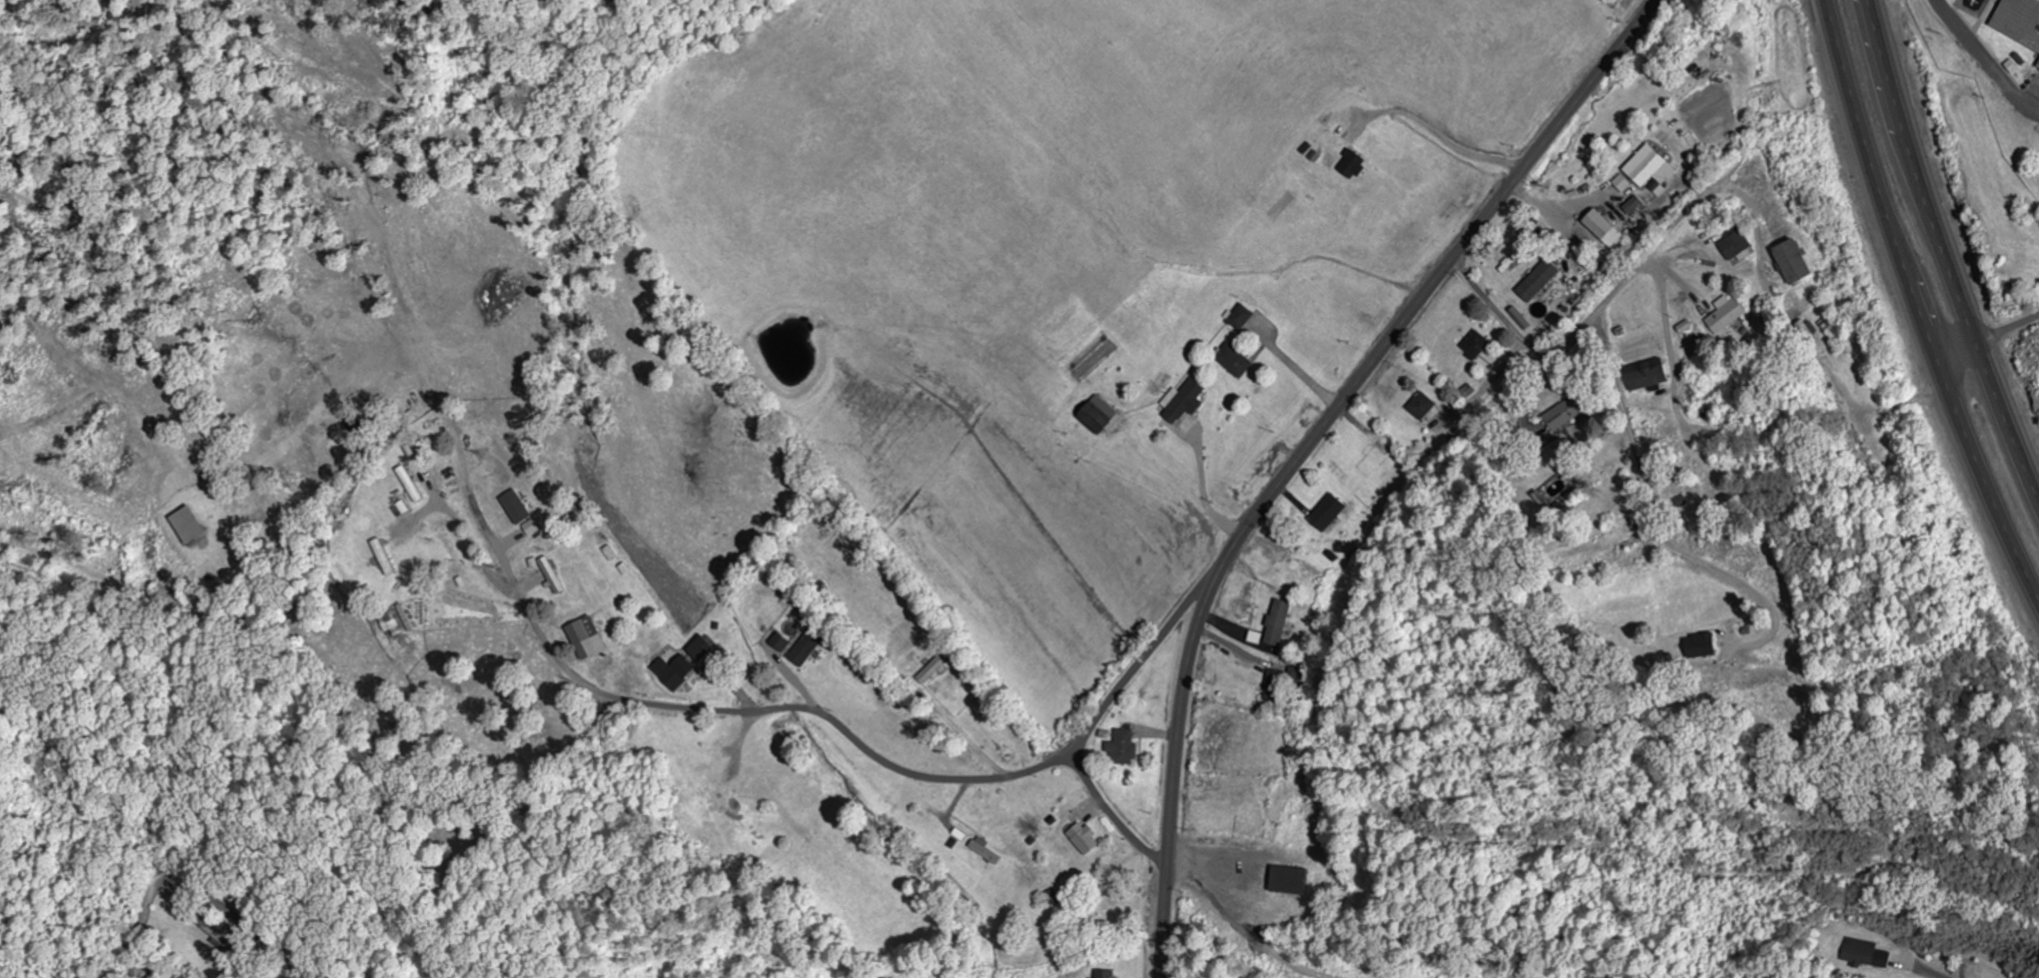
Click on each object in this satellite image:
building: (2018, 23)
building: (1350, 166)
building: (1647, 168)
building: (1621, 184)
building: (1630, 206)
building: (1602, 229)
building: (1733, 246)
road: (1944, 253)
building: (1789, 263)
building: (1537, 282)
road: (1914, 309)
road: (1597, 311)
building: (1724, 315)
building: (1239, 318)
building: (1812, 339)
building: (1474, 346)
building: (1232, 361)
building: (1645, 376)
building: (1181, 402)
building: (1421, 407)
building: (1094, 415)
building: (1559, 417)
road: (1309, 445)
road: (469, 497)
building: (522, 513)
building: (1326, 514)
building: (192, 526)
building: (610, 554)
building: (554, 575)
building: (1277, 623)
building: (392, 624)
building: (591, 639)
building: (783, 643)
building: (1699, 647)
building: (809, 648)
building: (705, 652)
building: (936, 669)
building: (676, 672)
road: (1110, 703)
building: (1121, 748)
road: (879, 774)
building: (1081, 838)
building: (982, 850)
building: (1284, 881)
road: (194, 888)
building: (1862, 954)
building: (1103, 974)

